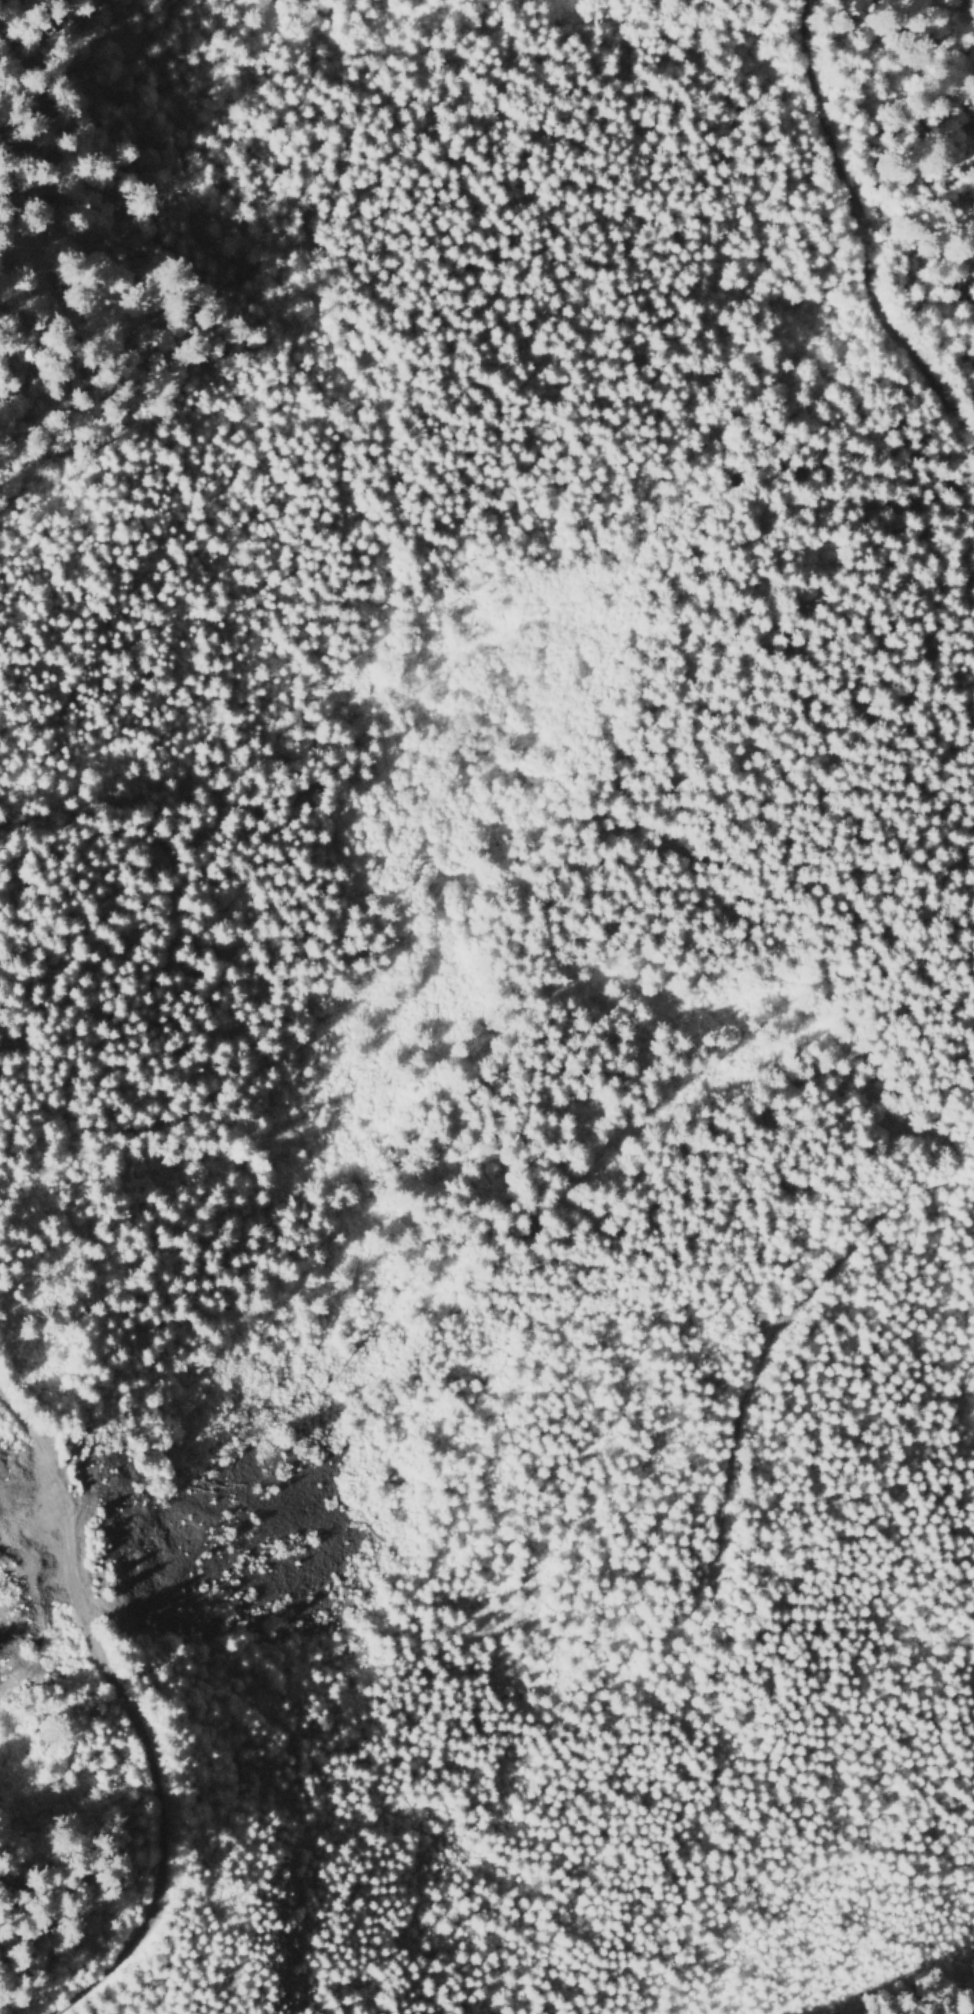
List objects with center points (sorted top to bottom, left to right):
road: (860, 227)
road: (776, 1334)
road: (135, 1717)

